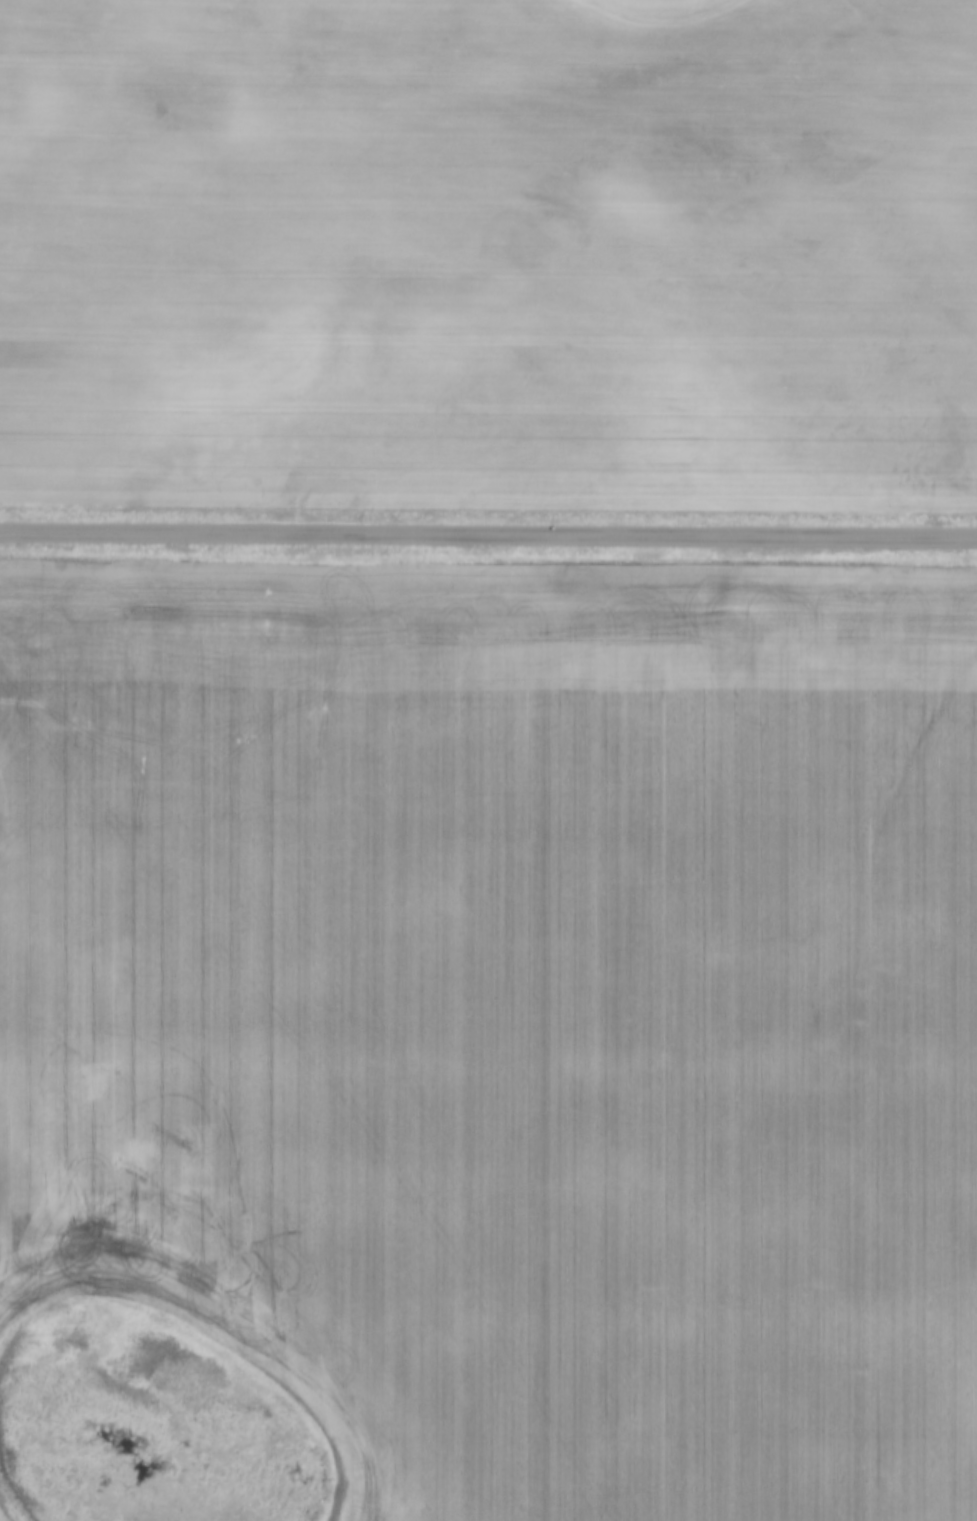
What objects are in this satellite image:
road: (488, 530)

